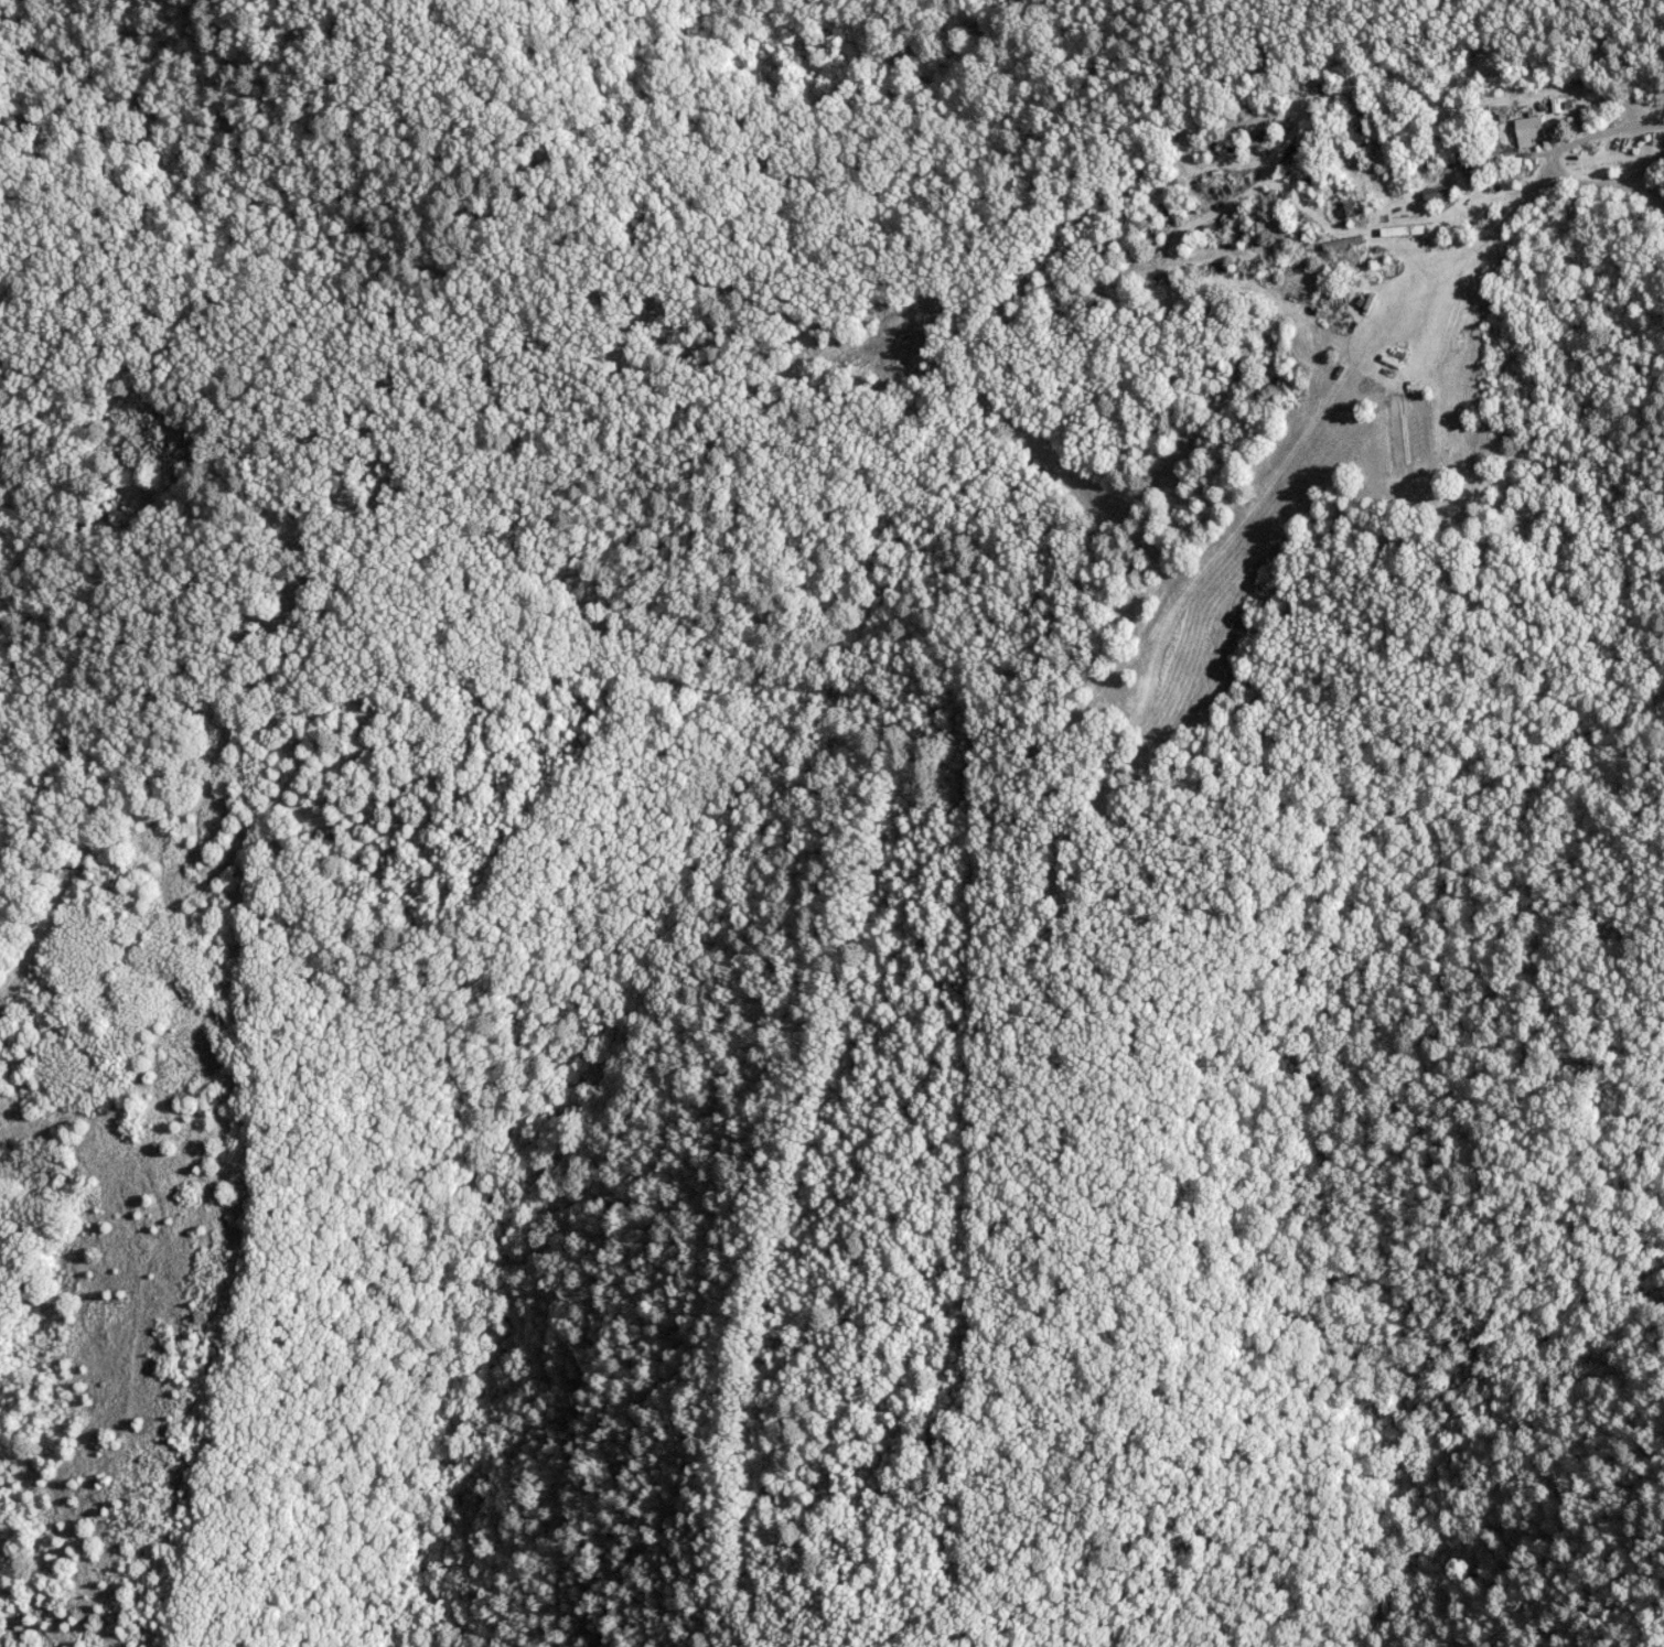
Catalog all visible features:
building: (1525, 130)
building: (1488, 136)
building: (1434, 193)

